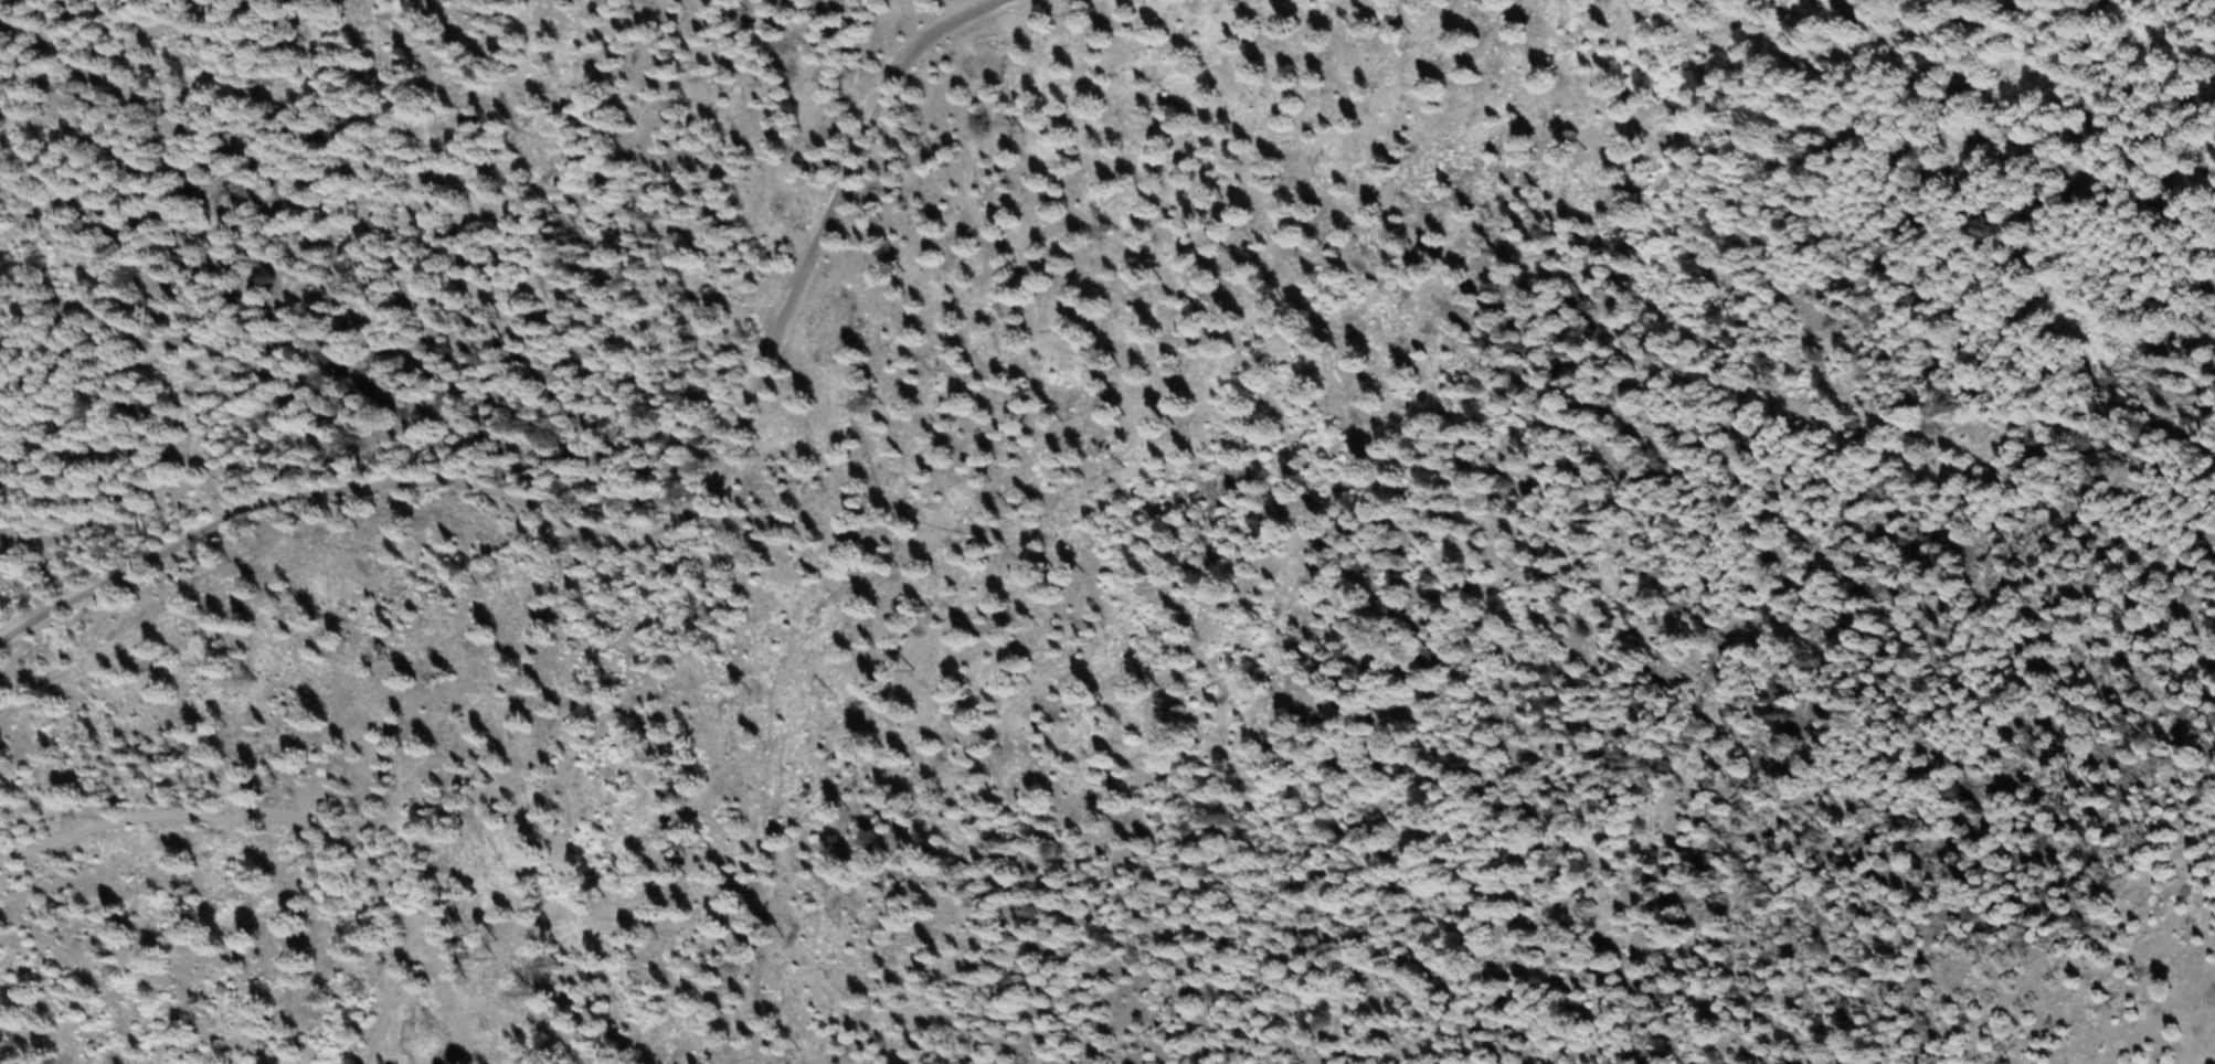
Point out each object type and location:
road: (634, 541)

